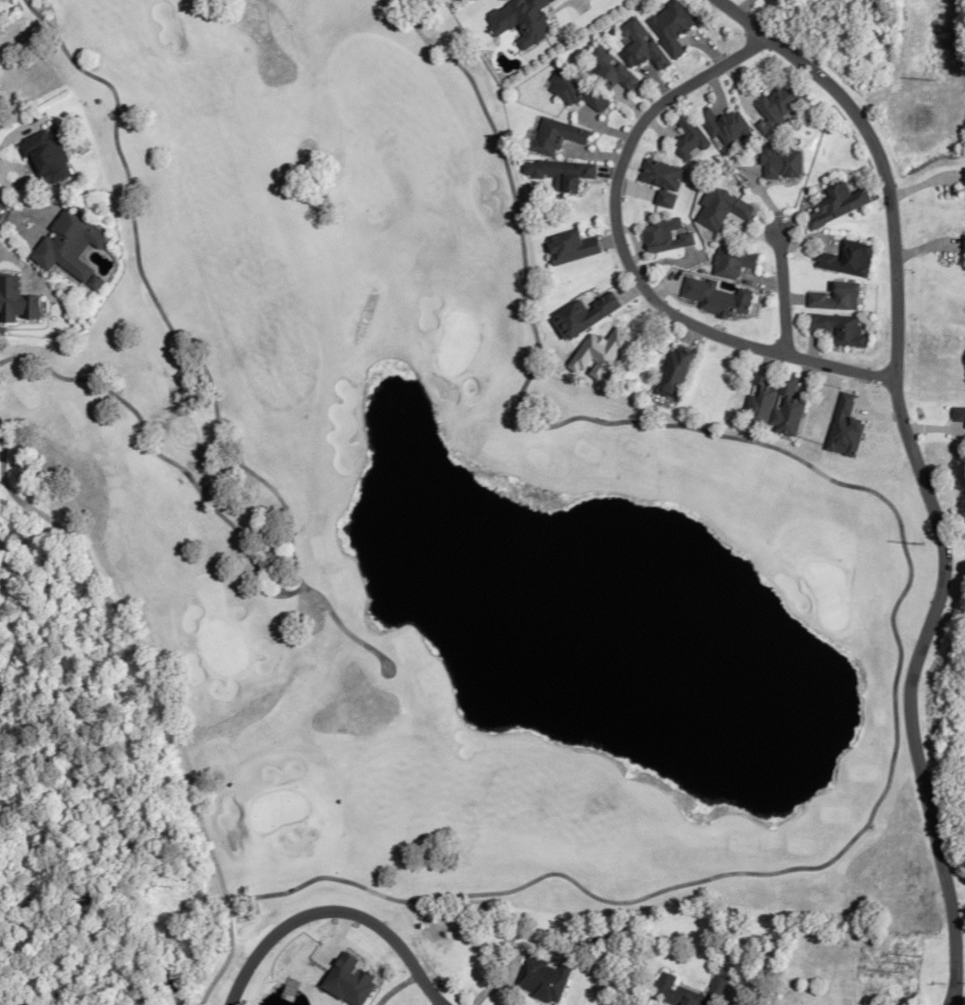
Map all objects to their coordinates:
road: (565, 2)
building: (526, 21)
building: (669, 26)
building: (640, 46)
building: (610, 69)
building: (574, 90)
building: (778, 102)
building: (724, 125)
building: (554, 135)
building: (688, 137)
building: (47, 155)
building: (780, 162)
building: (559, 172)
building: (964, 176)
building: (661, 180)
building: (837, 204)
building: (721, 209)
building: (664, 236)
building: (963, 244)
building: (70, 245)
building: (570, 247)
building: (846, 259)
building: (732, 262)
road: (625, 265)
road: (780, 293)
building: (716, 297)
building: (836, 297)
building: (583, 316)
building: (838, 329)
building: (676, 370)
building: (775, 402)
road: (917, 471)
building: (269, 556)
road: (335, 904)
building: (543, 979)
building: (686, 991)

